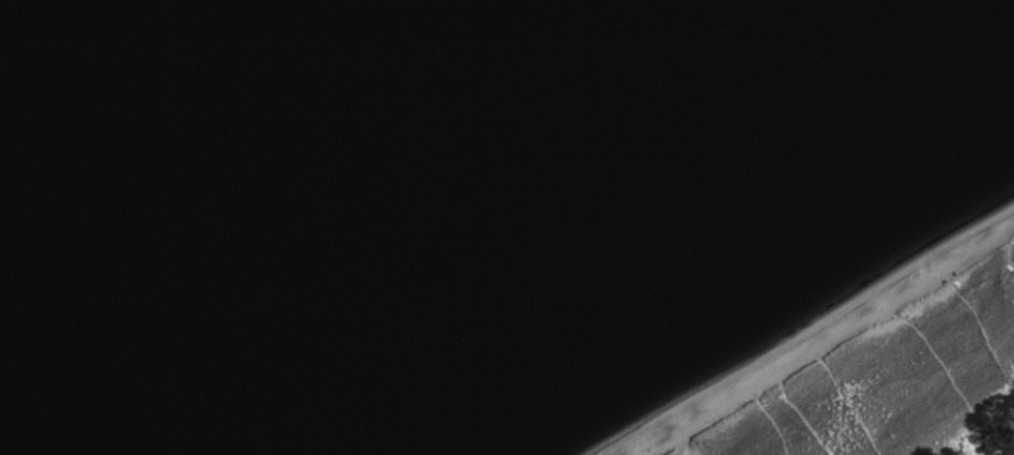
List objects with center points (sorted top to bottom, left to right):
road: (1006, 252)
road: (986, 330)
road: (947, 370)
road: (850, 406)
road: (806, 422)
road: (775, 425)
road: (692, 447)

